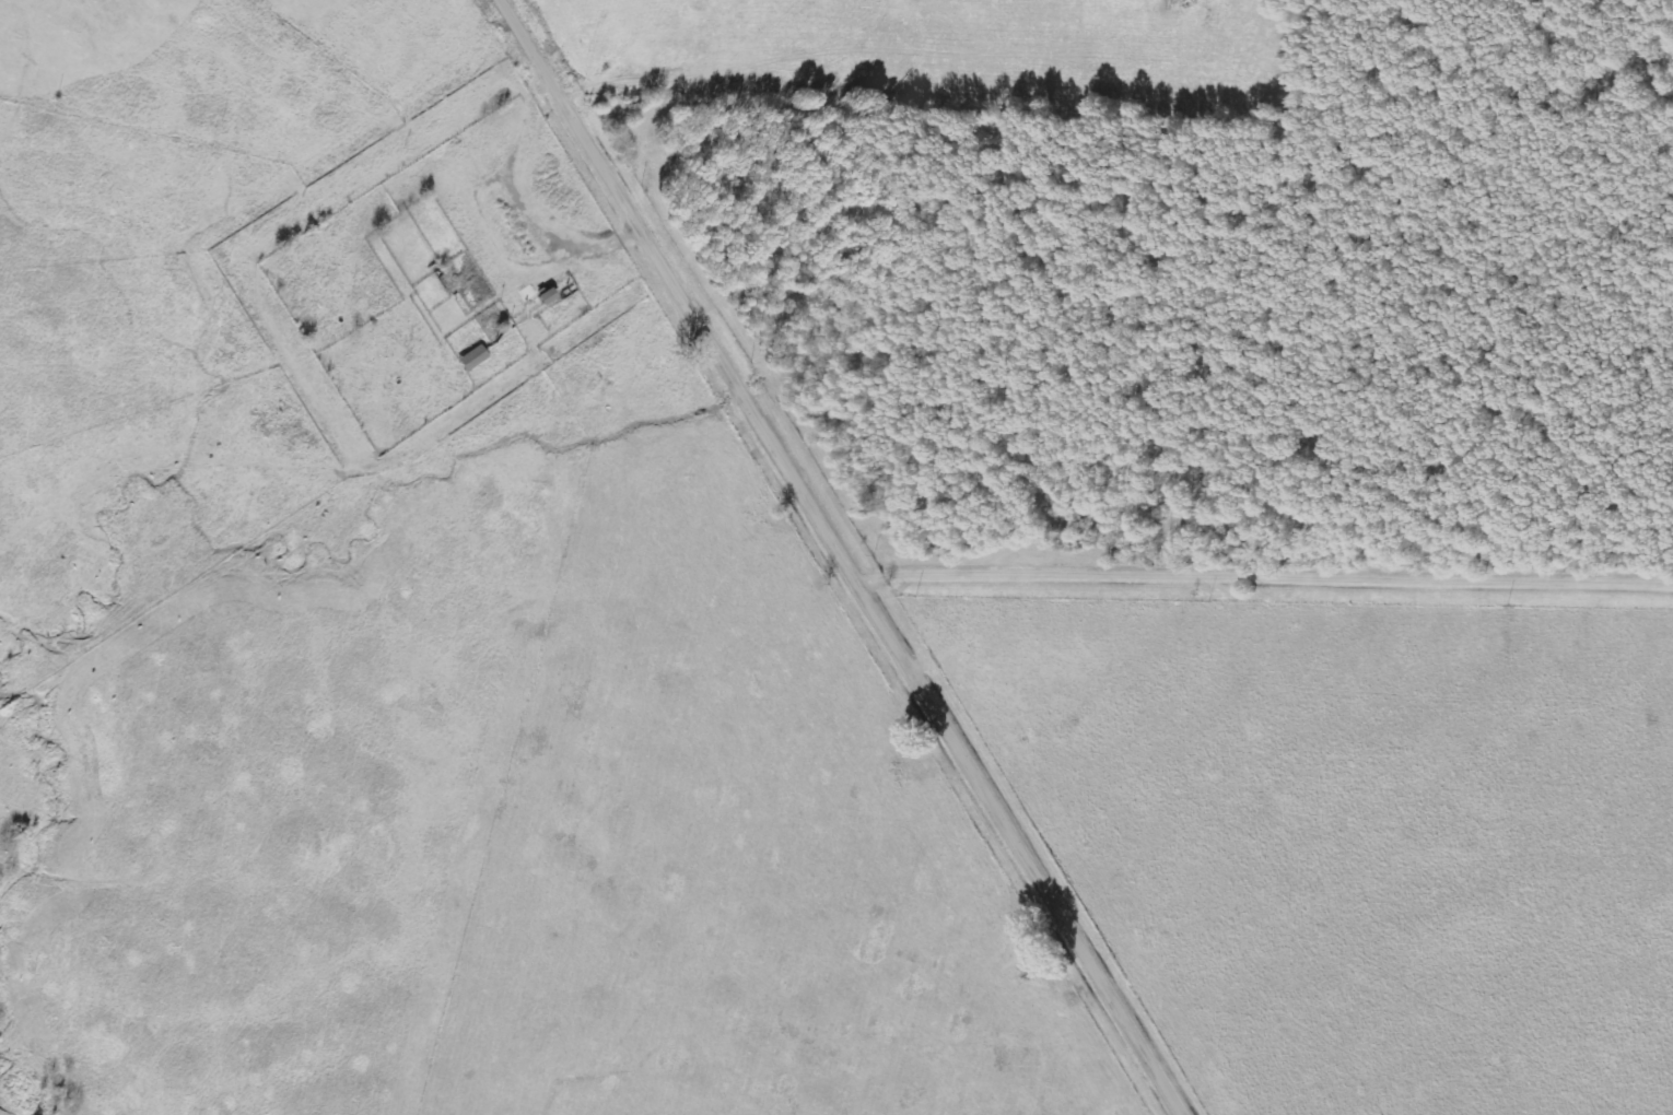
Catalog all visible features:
building: (477, 357)
road: (835, 559)

